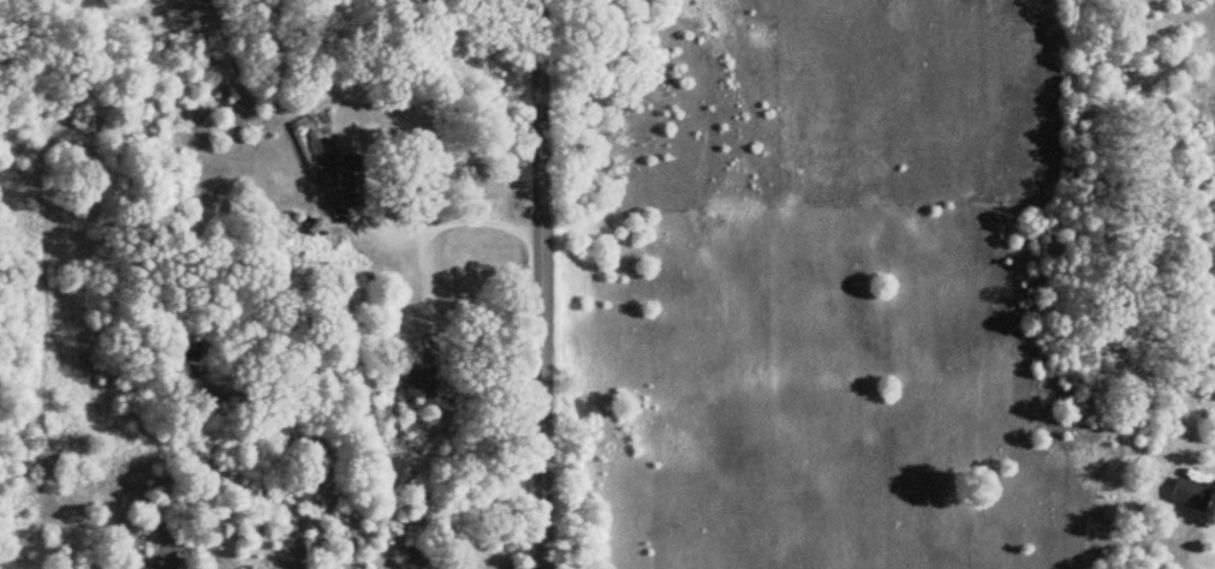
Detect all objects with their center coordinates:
building: (346, 182)
road: (448, 215)
road: (538, 283)
building: (415, 382)

